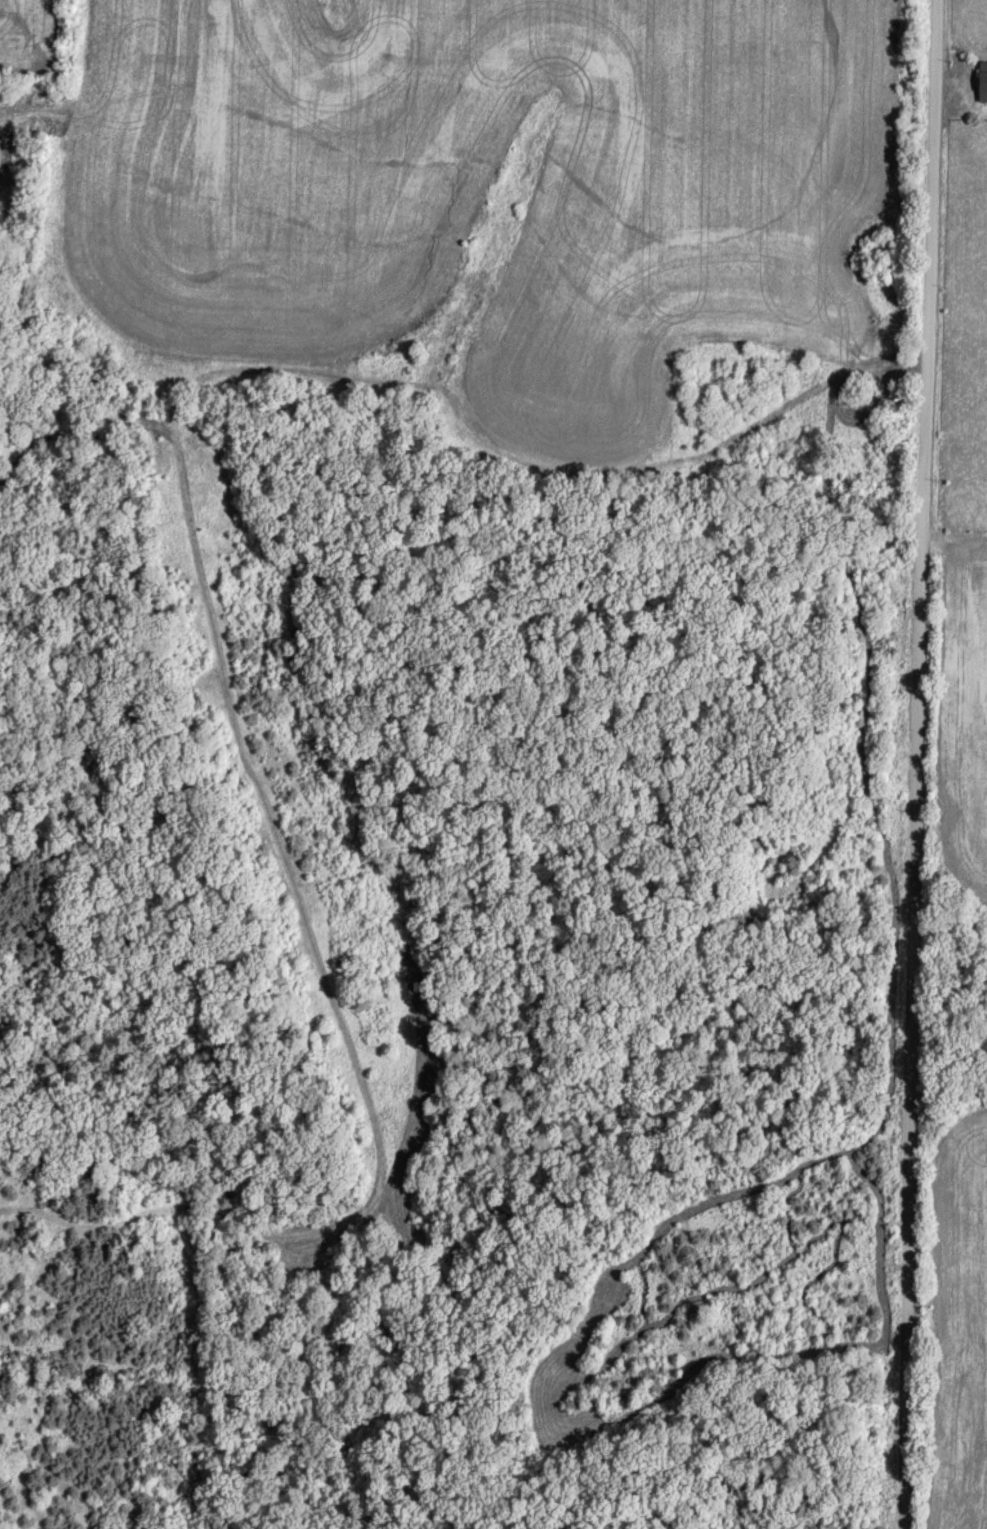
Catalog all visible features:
building: (983, 81)
road: (955, 541)
road: (918, 764)

